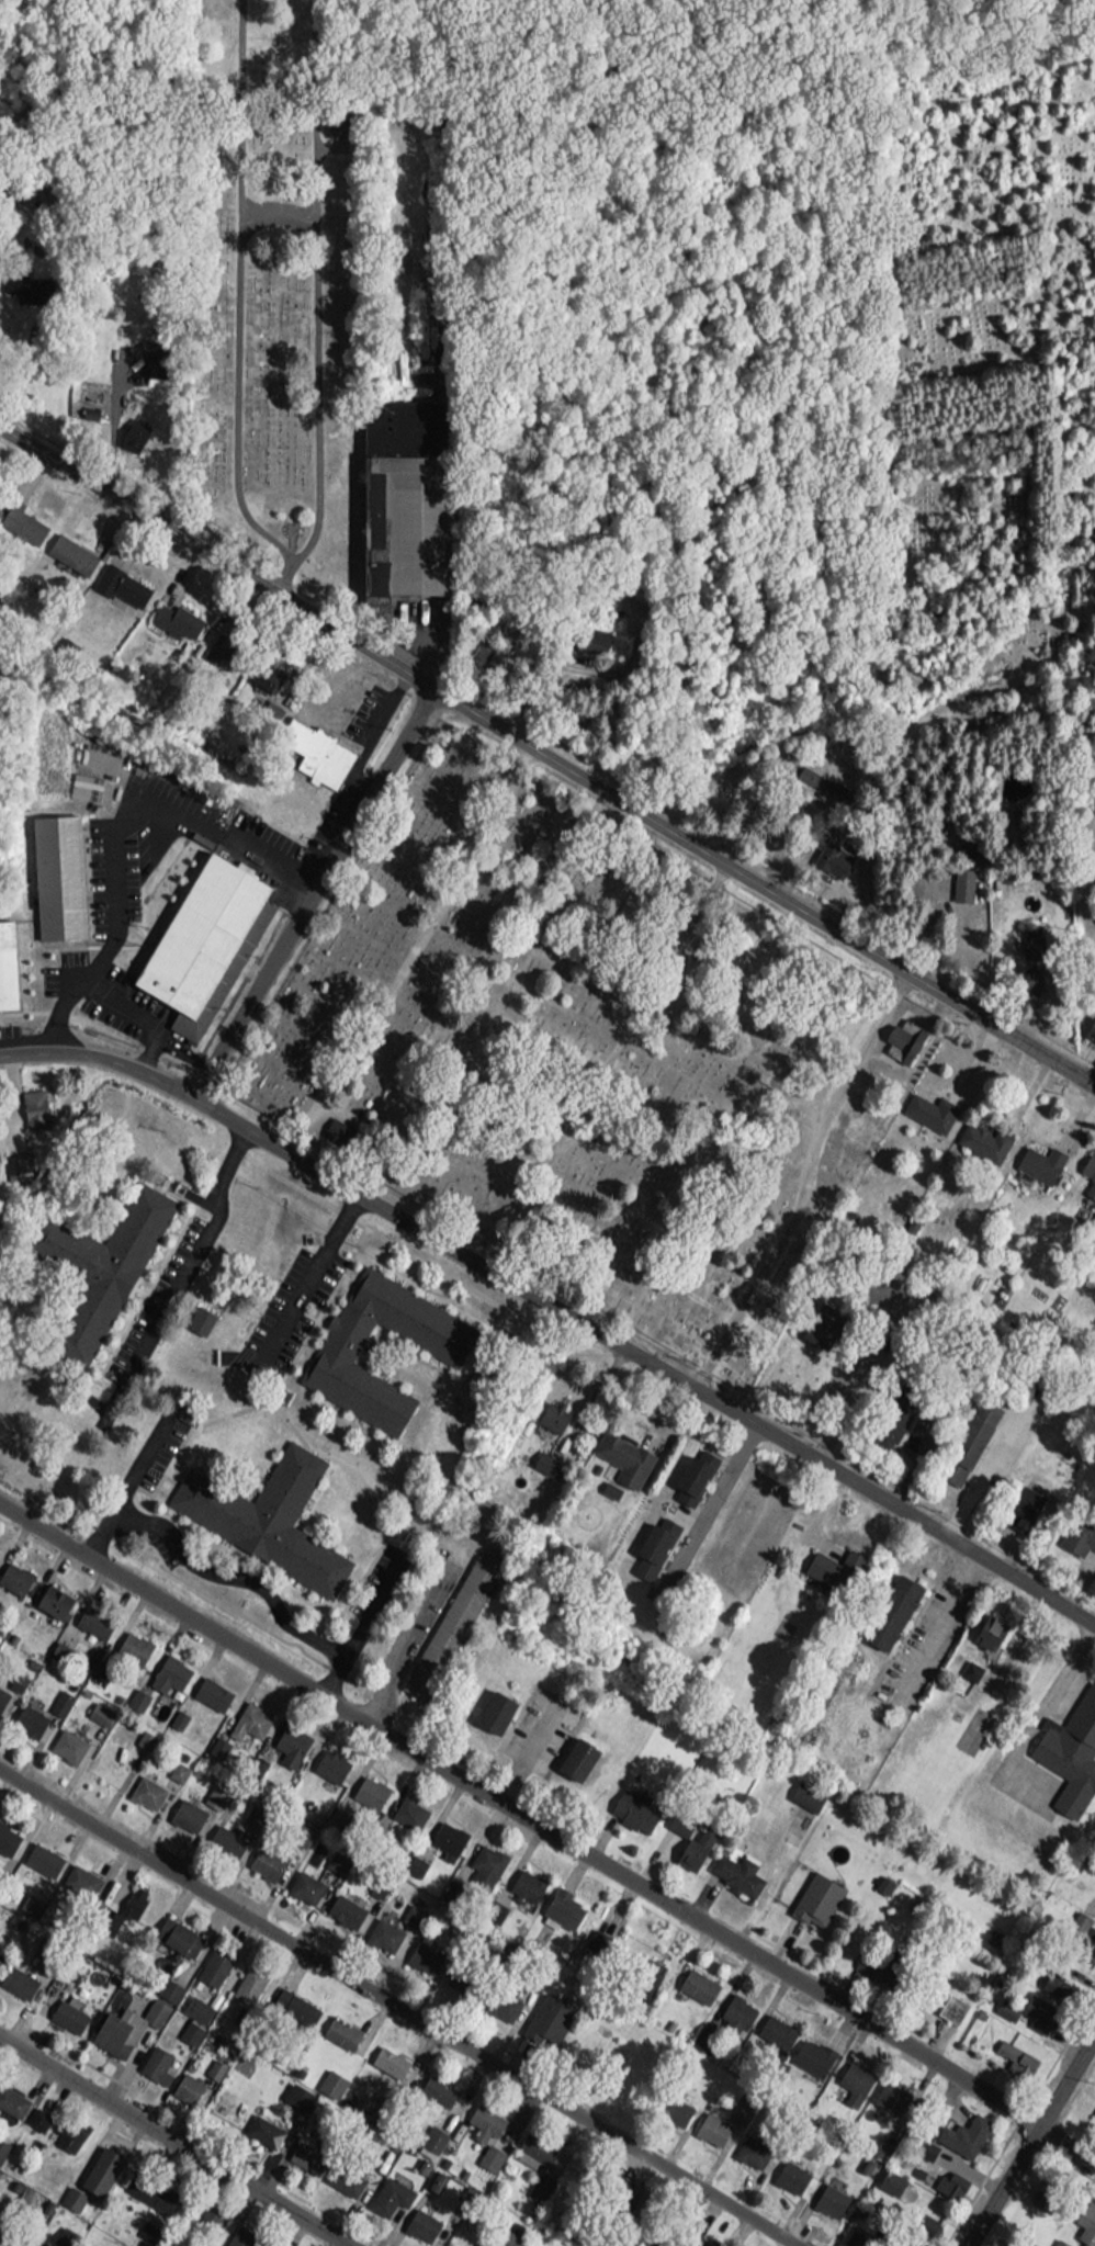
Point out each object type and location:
park: (272, 280)
road: (22, 375)
building: (131, 429)
building: (385, 462)
building: (21, 518)
road: (217, 554)
building: (120, 580)
building: (176, 614)
building: (816, 777)
road: (104, 835)
building: (827, 851)
road: (764, 884)
road: (314, 891)
building: (4, 928)
building: (196, 929)
road: (414, 951)
building: (1027, 973)
building: (1090, 1023)
road: (143, 1026)
building: (899, 1036)
road: (147, 1053)
park: (579, 1053)
building: (928, 1106)
building: (33, 1107)
building: (981, 1135)
building: (1038, 1158)
building: (1086, 1173)
road: (798, 1181)
road: (194, 1261)
road: (311, 1279)
building: (197, 1313)
road: (558, 1313)
building: (337, 1341)
road: (843, 1404)
road: (129, 1468)
building: (691, 1469)
road: (977, 1479)
building: (258, 1505)
road: (707, 1506)
building: (647, 1546)
building: (13, 1572)
road: (229, 1577)
building: (50, 1594)
road: (364, 1614)
building: (92, 1616)
building: (450, 1616)
building: (131, 1643)
road: (406, 1652)
building: (169, 1668)
building: (211, 1688)
road: (1020, 1689)
building: (1, 1690)
building: (58, 1696)
building: (492, 1706)
building: (99, 1708)
building: (26, 1713)
building: (246, 1718)
building: (66, 1739)
building: (287, 1740)
building: (1070, 1748)
building: (328, 1759)
building: (178, 1764)
building: (145, 1786)
building: (631, 1806)
building: (184, 1809)
building: (445, 1831)
building: (223, 1835)
road: (546, 1838)
building: (278, 1848)
building: (38, 1852)
building: (733, 1866)
building: (75, 1870)
road: (1050, 1878)
building: (303, 1883)
building: (815, 1894)
building: (132, 1896)
building: (564, 1900)
building: (342, 1905)
building: (174, 1929)
building: (1088, 1943)
building: (420, 1953)
building: (643, 1972)
building: (1049, 1977)
building: (246, 1979)
building: (695, 1980)
building: (154, 2006)
building: (735, 2006)
building: (1035, 2006)
building: (66, 2011)
road: (390, 2013)
building: (339, 2027)
building: (111, 2029)
building: (1014, 2049)
building: (155, 2058)
building: (849, 2069)
building: (185, 2081)
building: (10, 2096)
building: (1093, 2107)
building: (261, 2125)
building: (709, 2125)
building: (968, 2125)
building: (483, 2128)
building: (434, 2131)
road: (1030, 2138)
building: (2, 2142)
road: (169, 2143)
building: (98, 2166)
building: (789, 2171)
building: (431, 2175)
building: (888, 2175)
building: (947, 2178)
building: (387, 2190)
building: (70, 2192)
building: (1085, 2217)
building: (146, 2224)
building: (237, 2233)
building: (705, 2239)
building: (39, 2241)
building: (202, 2245)

